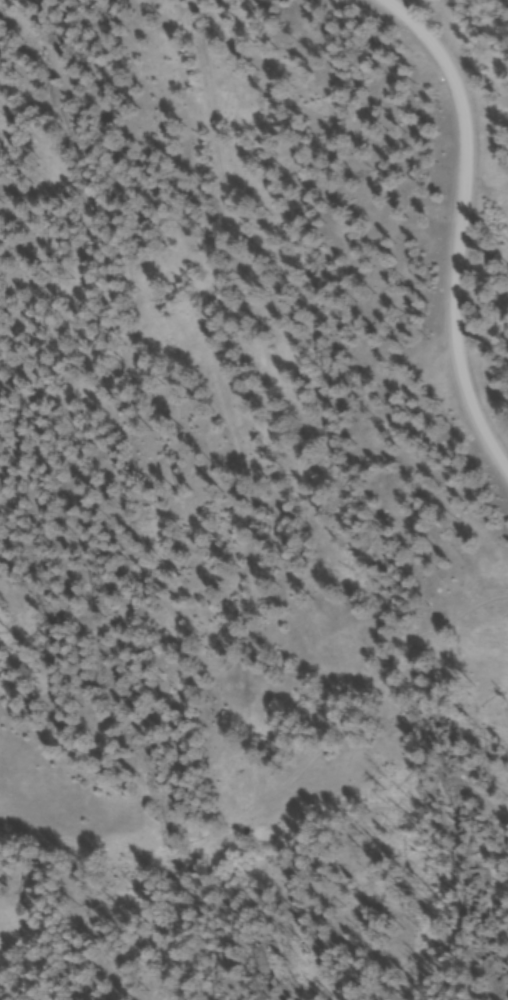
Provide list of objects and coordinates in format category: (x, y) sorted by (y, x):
road: (453, 231)

